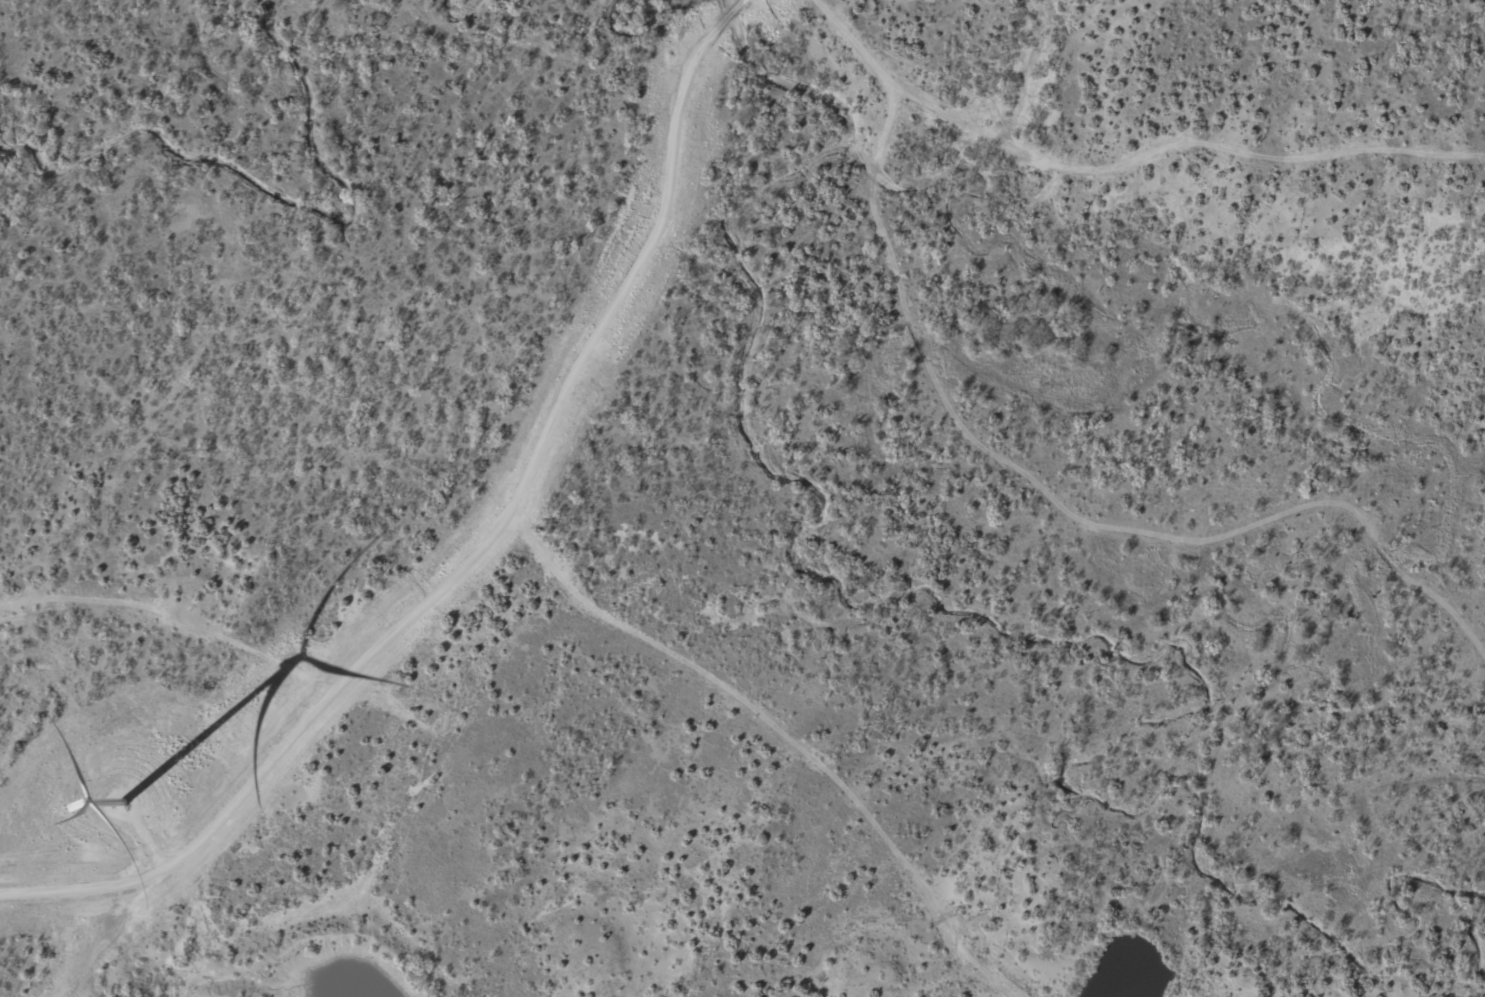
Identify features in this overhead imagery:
road: (757, 2)
road: (876, 220)
road: (503, 565)
road: (146, 632)
wind turbine: (120, 812)

